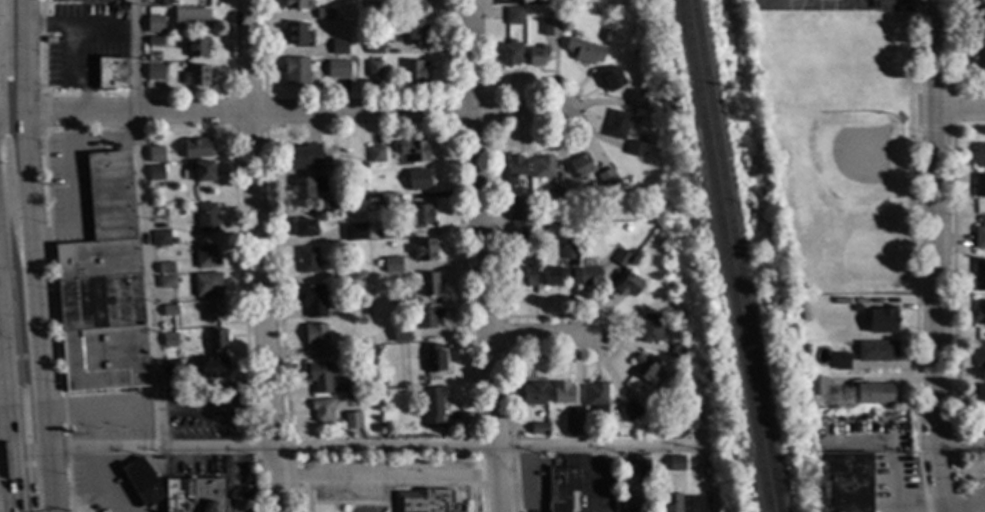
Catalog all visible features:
road: (915, 2)
building: (415, 4)
building: (295, 5)
building: (374, 11)
building: (324, 14)
building: (553, 14)
building: (515, 16)
building: (979, 16)
building: (192, 20)
building: (155, 24)
road: (80, 27)
building: (551, 27)
building: (415, 33)
building: (294, 34)
building: (606, 35)
building: (154, 41)
building: (375, 46)
building: (197, 47)
building: (339, 47)
building: (585, 51)
building: (511, 54)
building: (538, 56)
road: (27, 57)
building: (979, 60)
building: (374, 69)
building: (341, 70)
building: (296, 71)
building: (155, 72)
building: (413, 72)
road: (71, 73)
building: (111, 74)
building: (196, 76)
building: (612, 79)
building: (638, 98)
road: (961, 110)
road: (282, 114)
building: (617, 125)
building: (196, 149)
building: (636, 149)
building: (414, 151)
building: (375, 155)
building: (155, 156)
building: (979, 156)
building: (305, 157)
building: (365, 166)
building: (581, 166)
building: (543, 167)
building: (516, 170)
building: (203, 172)
building: (156, 174)
building: (608, 179)
building: (418, 180)
building: (307, 187)
building: (980, 187)
road: (75, 192)
building: (558, 194)
building: (387, 198)
building: (649, 201)
building: (330, 207)
building: (519, 210)
building: (417, 216)
building: (207, 218)
road: (142, 224)
building: (305, 228)
building: (626, 228)
building: (519, 229)
building: (388, 232)
building: (354, 233)
building: (980, 235)
building: (161, 239)
building: (658, 241)
building: (424, 250)
building: (568, 250)
road: (264, 256)
road: (485, 256)
railway: (722, 256)
railway: (732, 256)
road: (937, 256)
building: (206, 258)
building: (621, 258)
building: (308, 260)
building: (379, 264)
building: (392, 265)
building: (165, 269)
building: (345, 273)
building: (524, 277)
building: (554, 277)
building: (589, 277)
building: (979, 277)
building: (167, 283)
building: (429, 284)
building: (206, 285)
building: (629, 286)
building: (103, 289)
building: (391, 299)
building: (312, 300)
building: (404, 300)
building: (856, 308)
building: (169, 310)
building: (214, 312)
building: (802, 312)
road: (41, 313)
building: (980, 313)
building: (428, 318)
building: (882, 321)
building: (649, 329)
building: (401, 333)
road: (543, 336)
building: (316, 339)
building: (170, 340)
building: (216, 340)
building: (366, 340)
building: (364, 347)
building: (805, 349)
building: (877, 352)
building: (384, 353)
building: (678, 353)
building: (979, 355)
building: (433, 359)
building: (841, 361)
building: (367, 362)
building: (171, 368)
building: (213, 368)
building: (644, 368)
building: (324, 379)
building: (383, 381)
building: (816, 386)
building: (382, 391)
building: (533, 393)
building: (562, 393)
building: (874, 394)
building: (979, 395)
building: (596, 398)
building: (433, 406)
road: (217, 408)
building: (322, 410)
road: (102, 412)
building: (629, 412)
building: (819, 415)
road: (7, 417)
building: (693, 420)
building: (352, 421)
building: (572, 427)
building: (538, 429)
building: (419, 436)
road: (3, 444)
road: (375, 446)
road: (962, 446)
building: (676, 463)
building: (643, 469)
road: (391, 479)
building: (142, 481)
building: (846, 482)
building: (561, 488)
building: (194, 496)
building: (424, 501)
building: (672, 503)
building: (699, 504)
building: (631, 505)
road: (968, 505)

